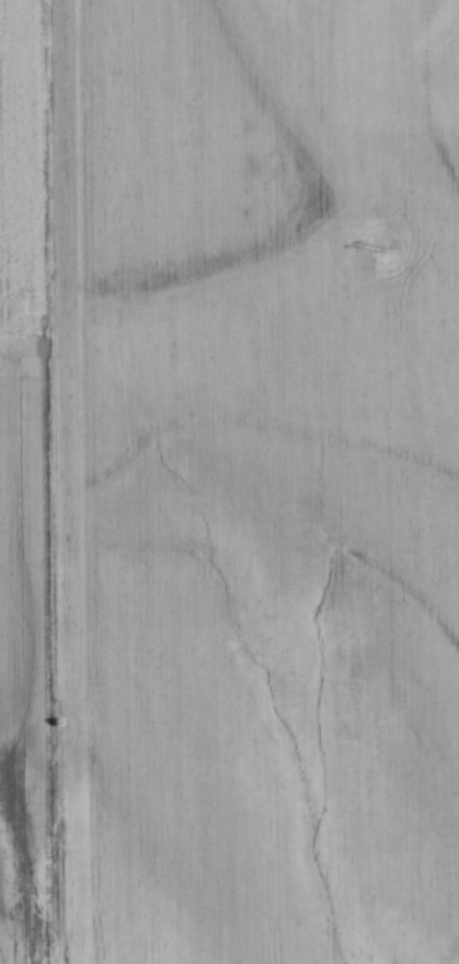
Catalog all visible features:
power tower: (379, 254)

